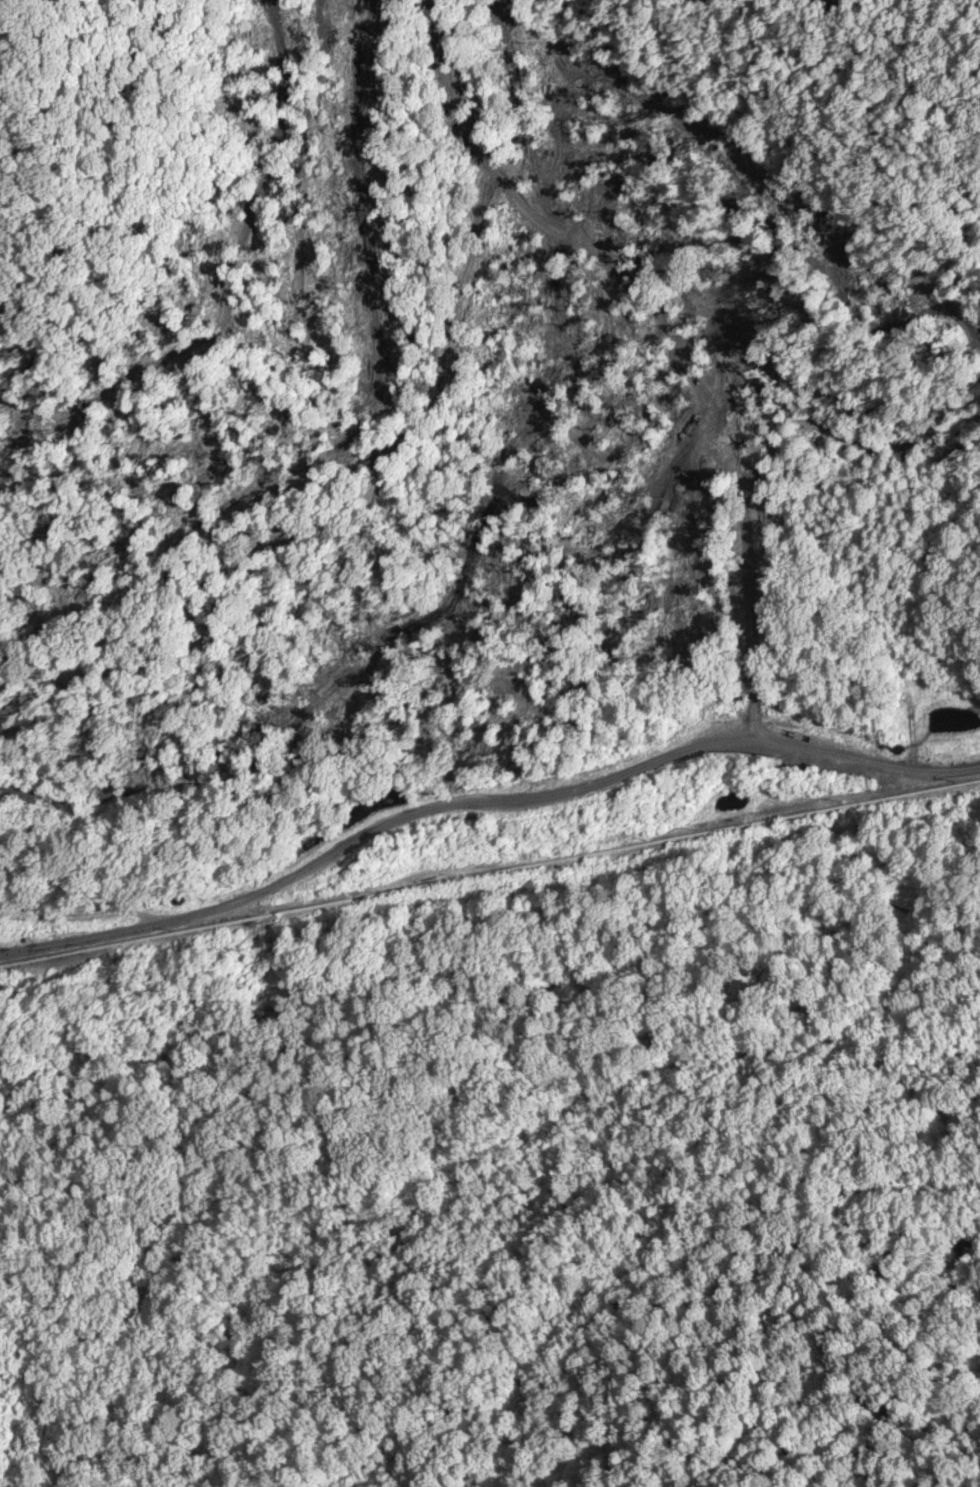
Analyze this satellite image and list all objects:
quarry: (456, 823)

